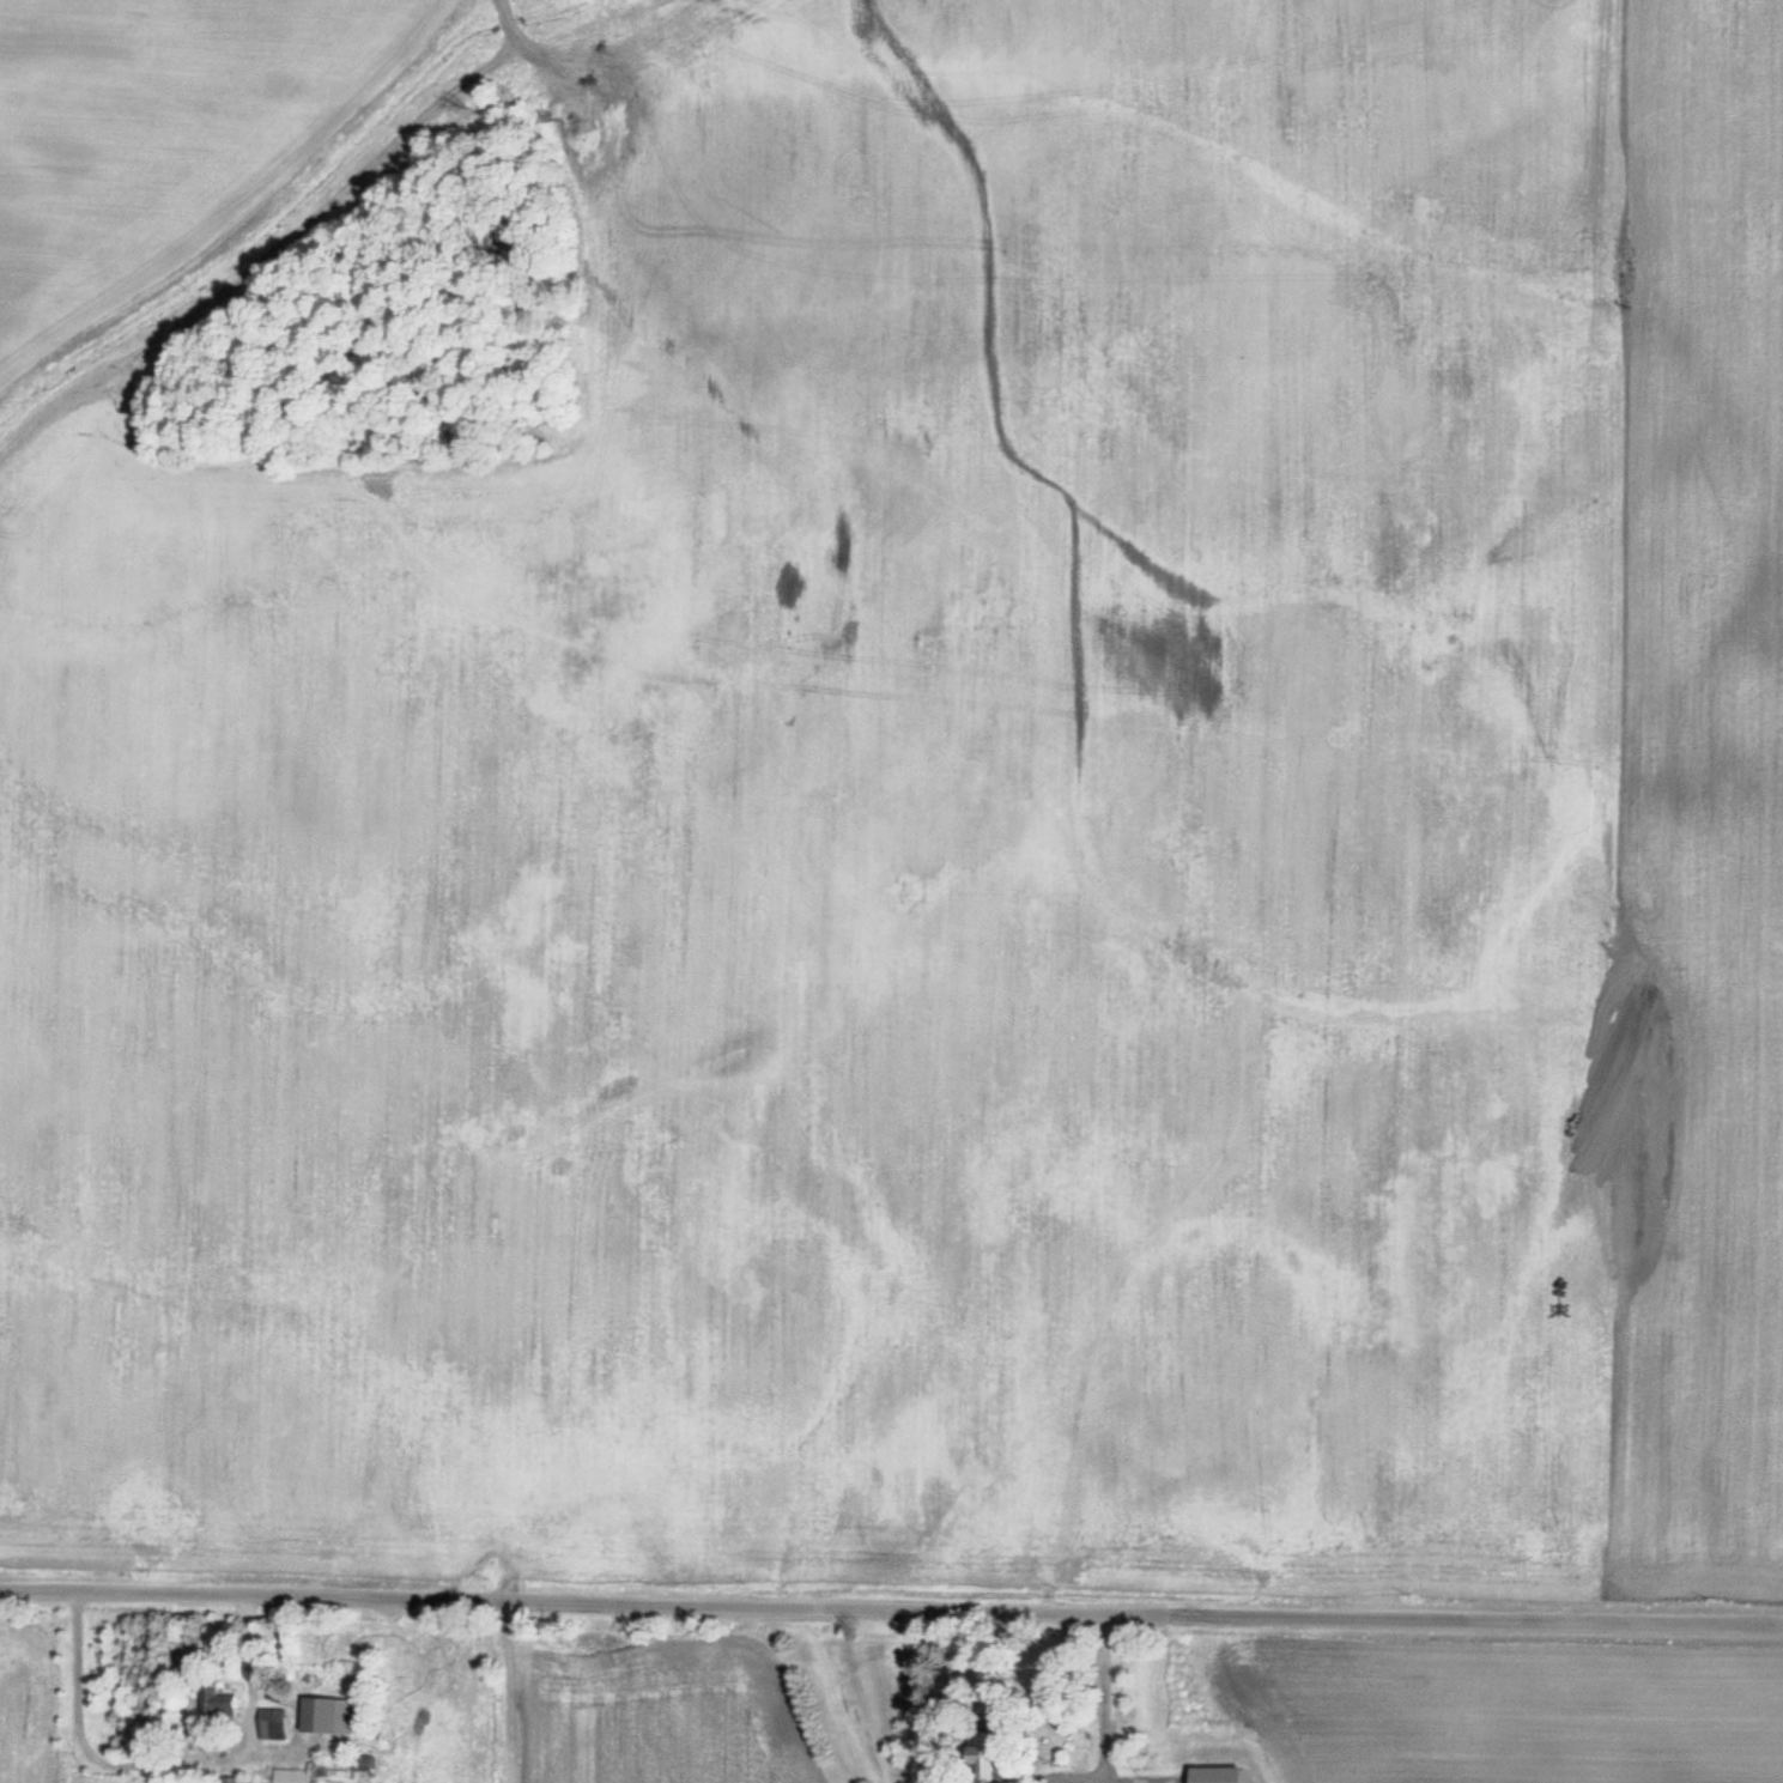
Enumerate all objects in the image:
road: (891, 1603)
building: (217, 1704)
building: (325, 1716)
building: (984, 1751)
building: (360, 1764)
building: (1214, 1776)

